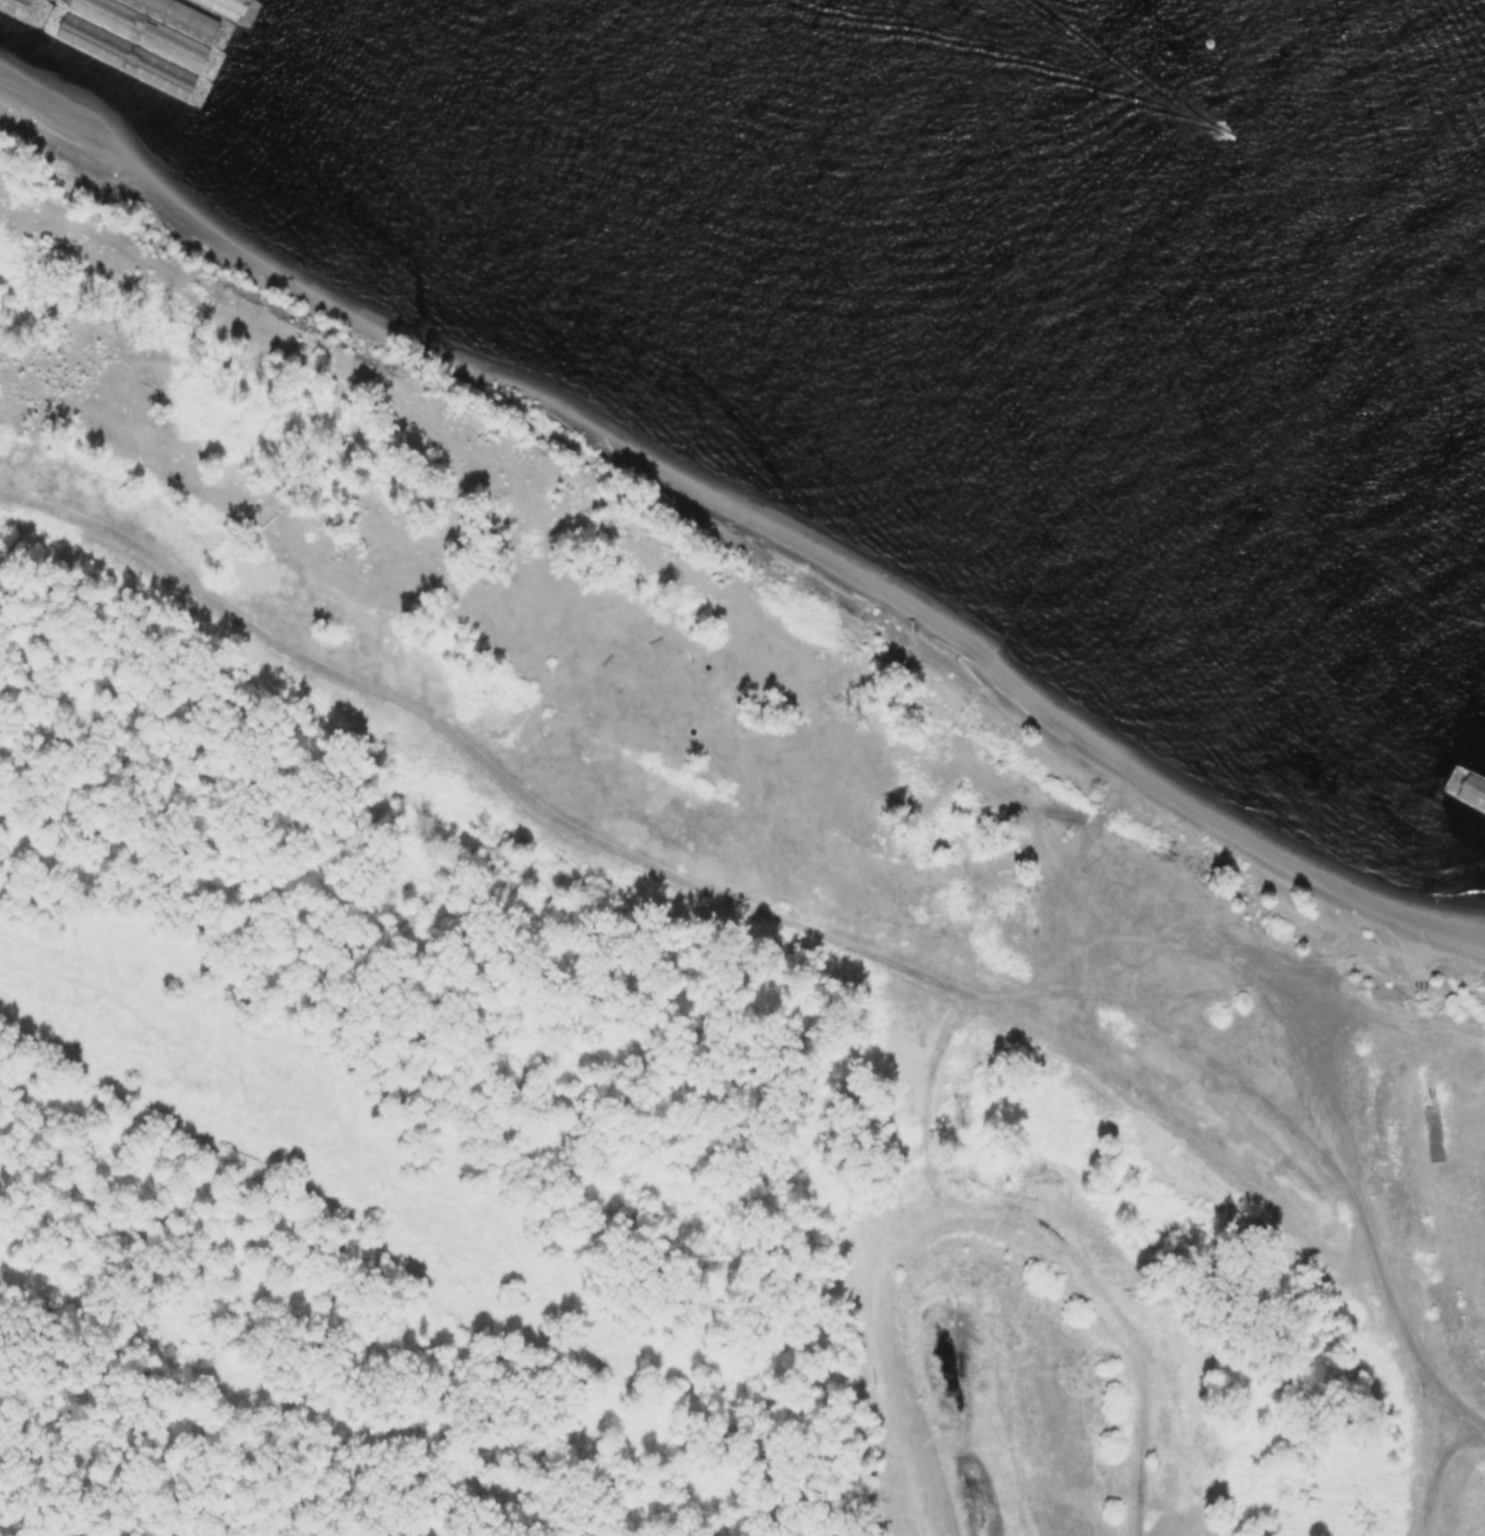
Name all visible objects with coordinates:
river: (1307, 111)
building: (1483, 804)
road: (796, 928)

